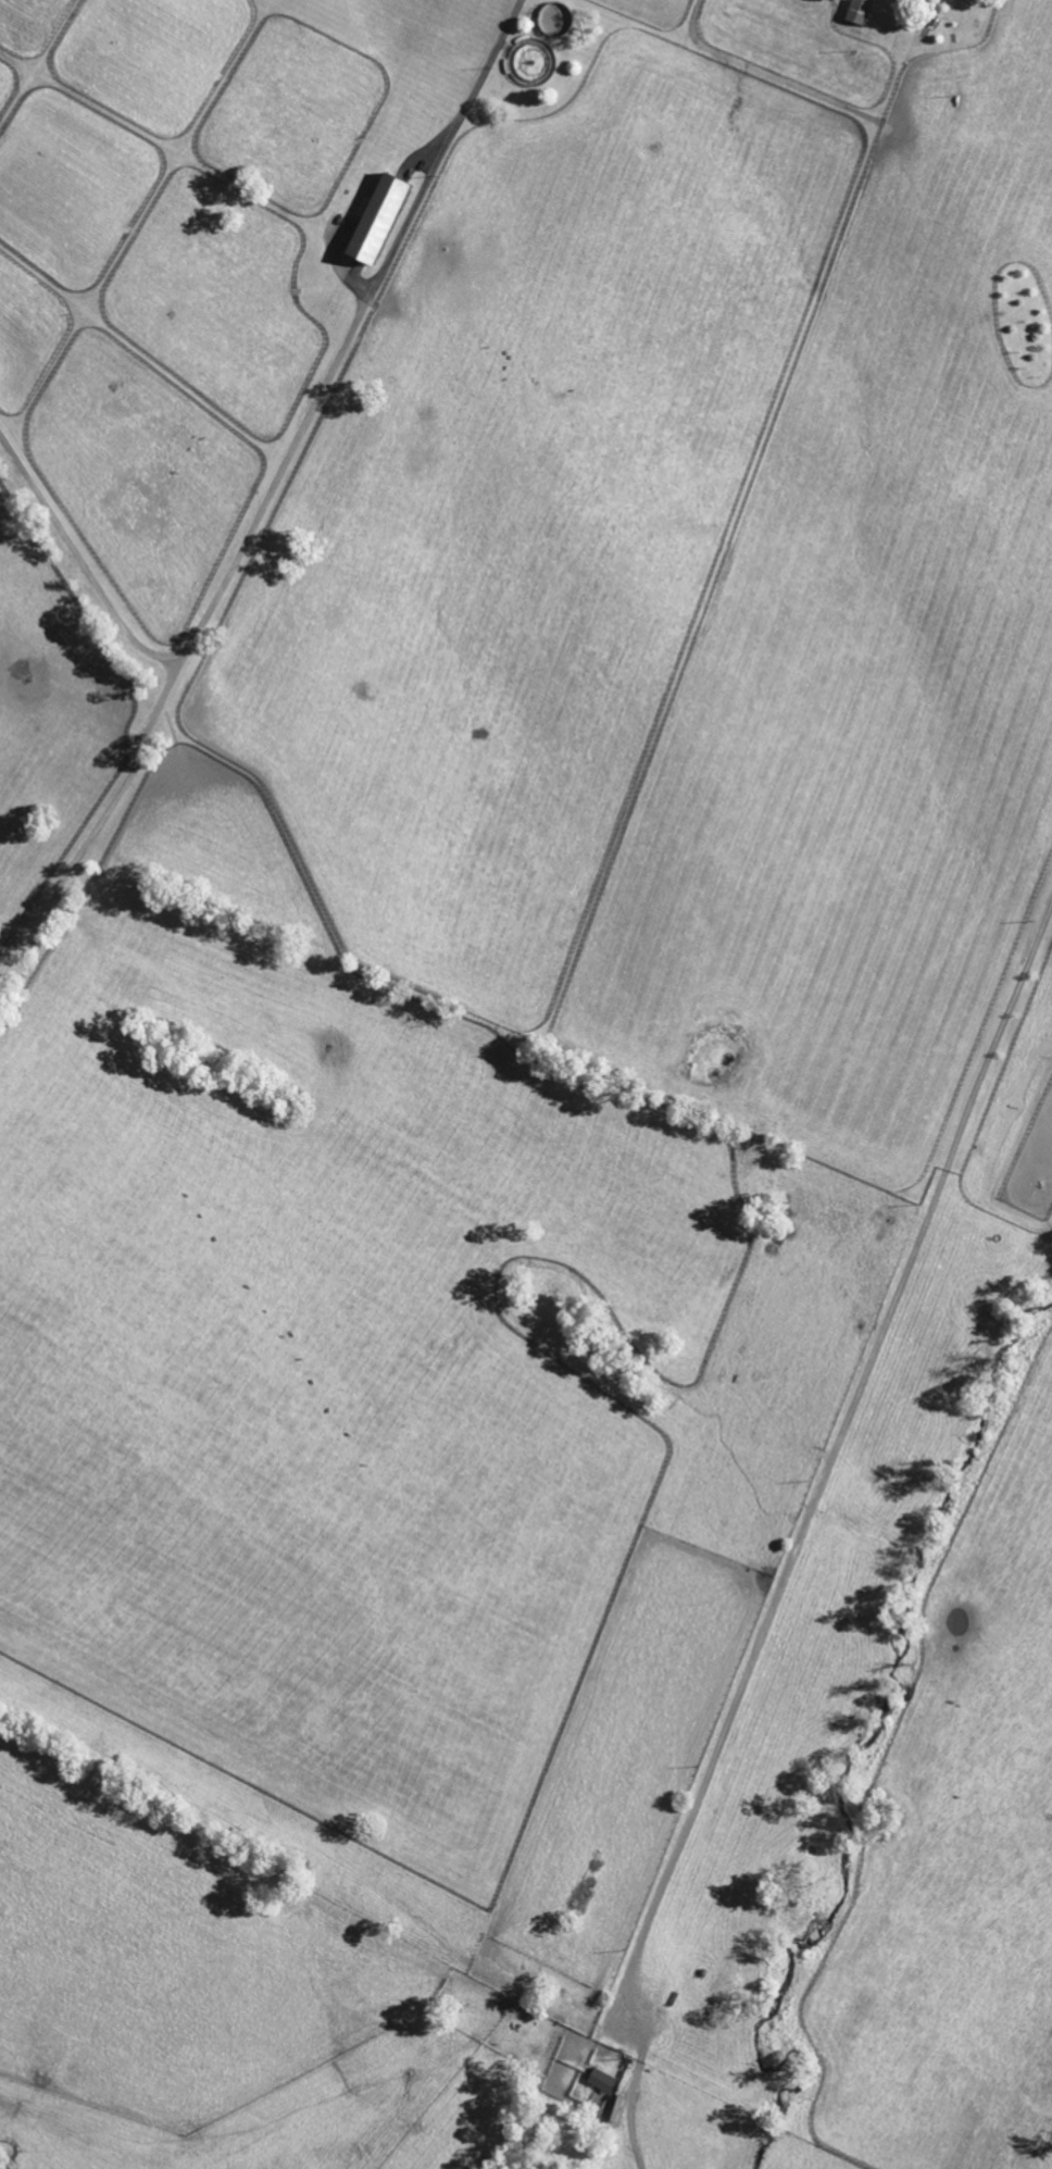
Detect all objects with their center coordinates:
building: (861, 12)
road: (484, 70)
building: (378, 222)
road: (814, 1546)
building: (603, 2081)

